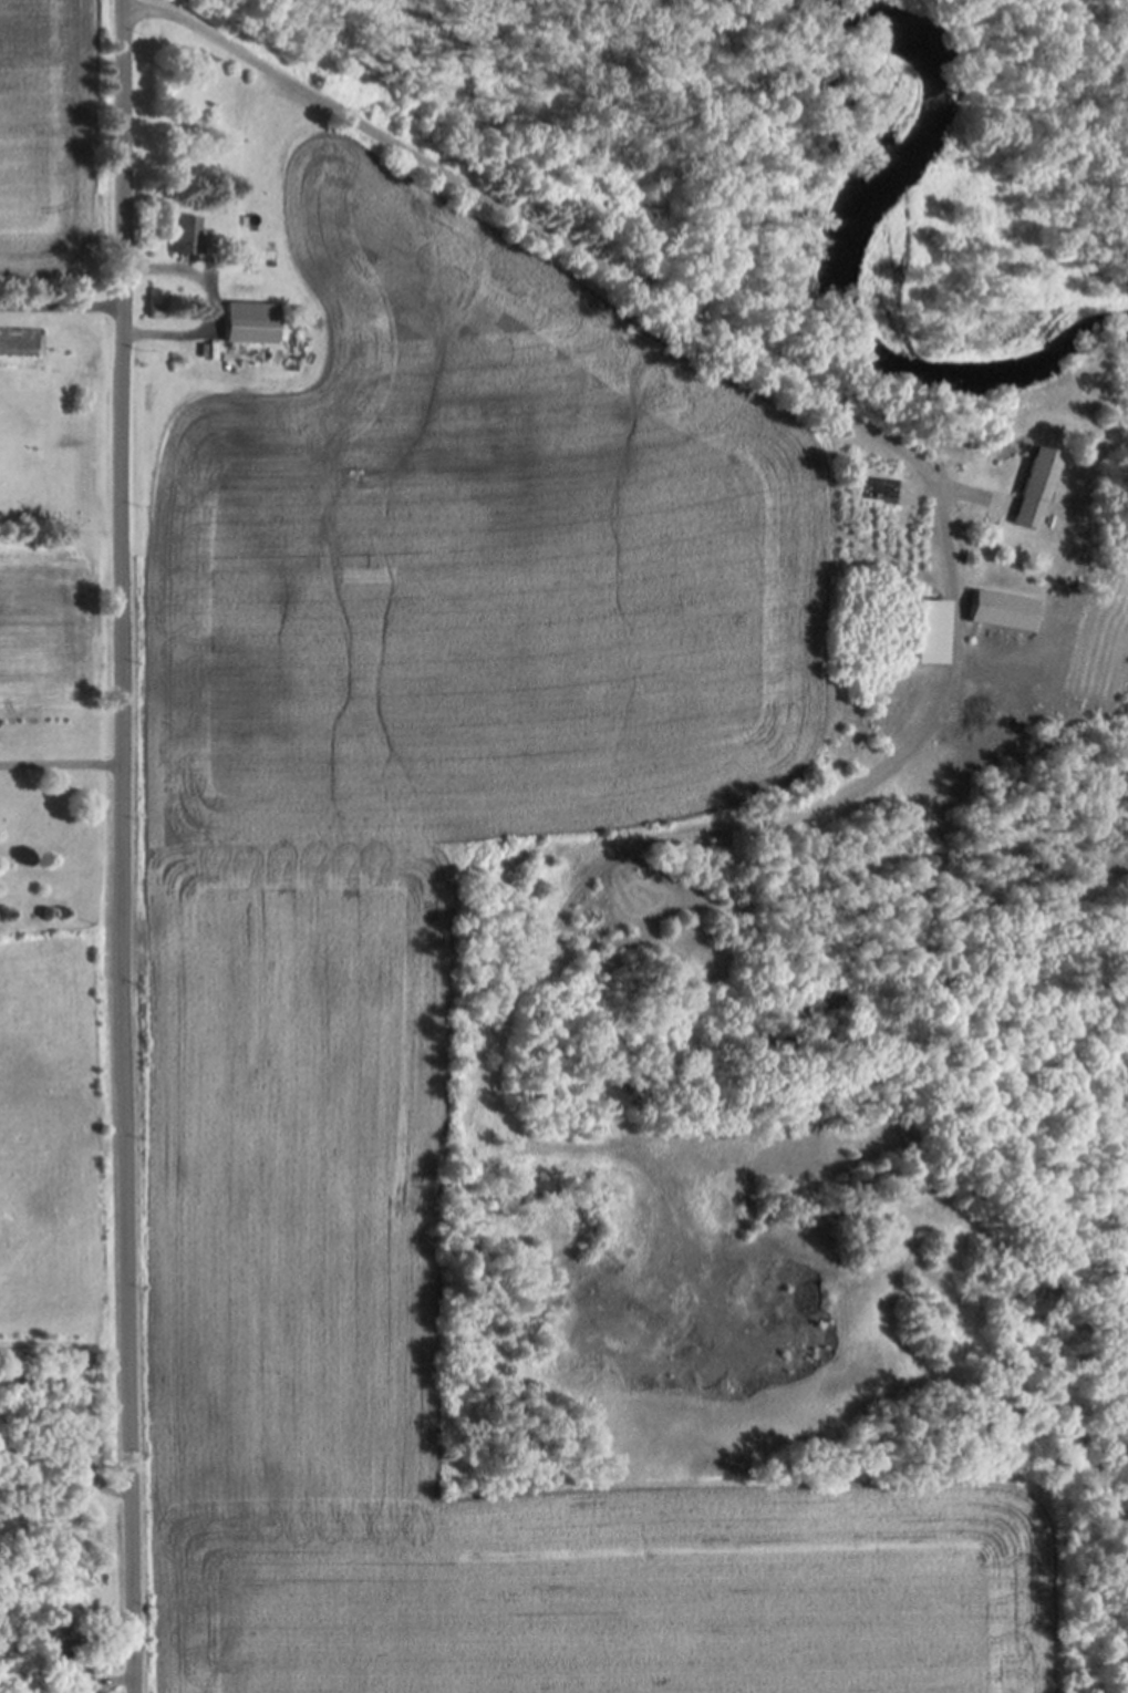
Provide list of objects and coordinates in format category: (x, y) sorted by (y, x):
building: (214, 16)
river: (1000, 163)
road: (541, 229)
building: (187, 233)
building: (158, 302)
road: (63, 303)
road: (208, 303)
building: (252, 321)
building: (1036, 486)
building: (1004, 609)
building: (932, 630)
road: (132, 846)

